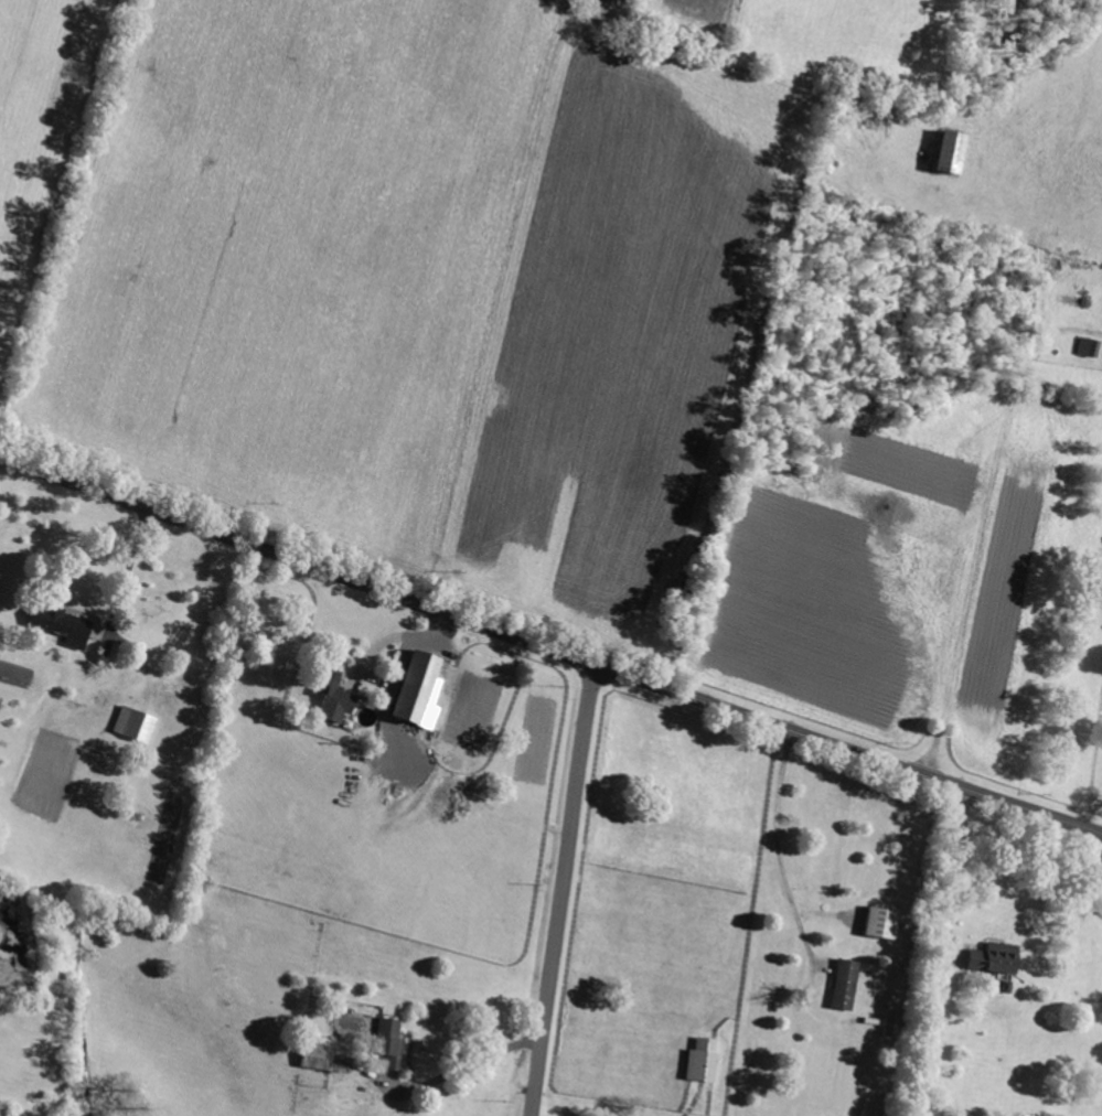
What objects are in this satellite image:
building: (945, 153)
building: (1084, 347)
building: (57, 624)
road: (549, 650)
building: (417, 689)
building: (330, 696)
building: (132, 725)
road: (782, 825)
road: (1084, 872)
road: (566, 890)
road: (953, 900)
building: (878, 923)
building: (991, 958)
building: (842, 985)
building: (889, 1027)
building: (387, 1043)
building: (314, 1056)
building: (699, 1061)
road: (468, 1065)

